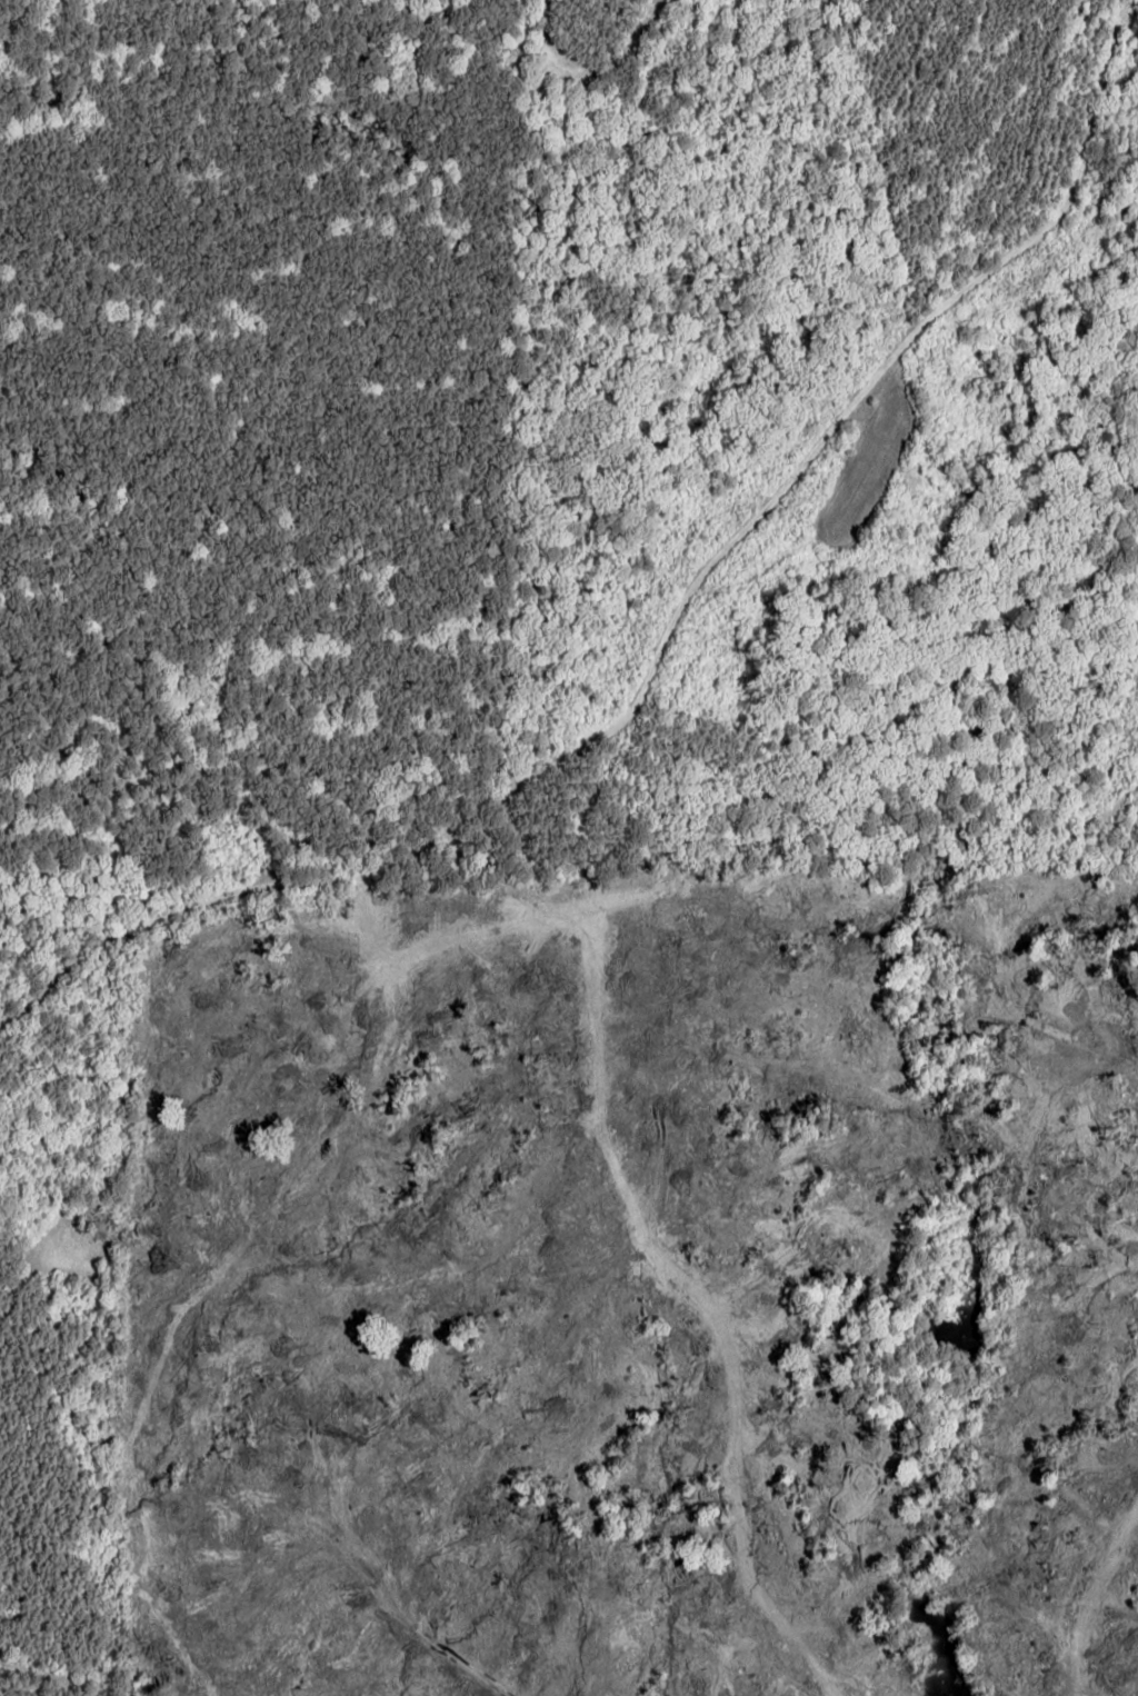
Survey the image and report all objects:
road: (673, 660)

